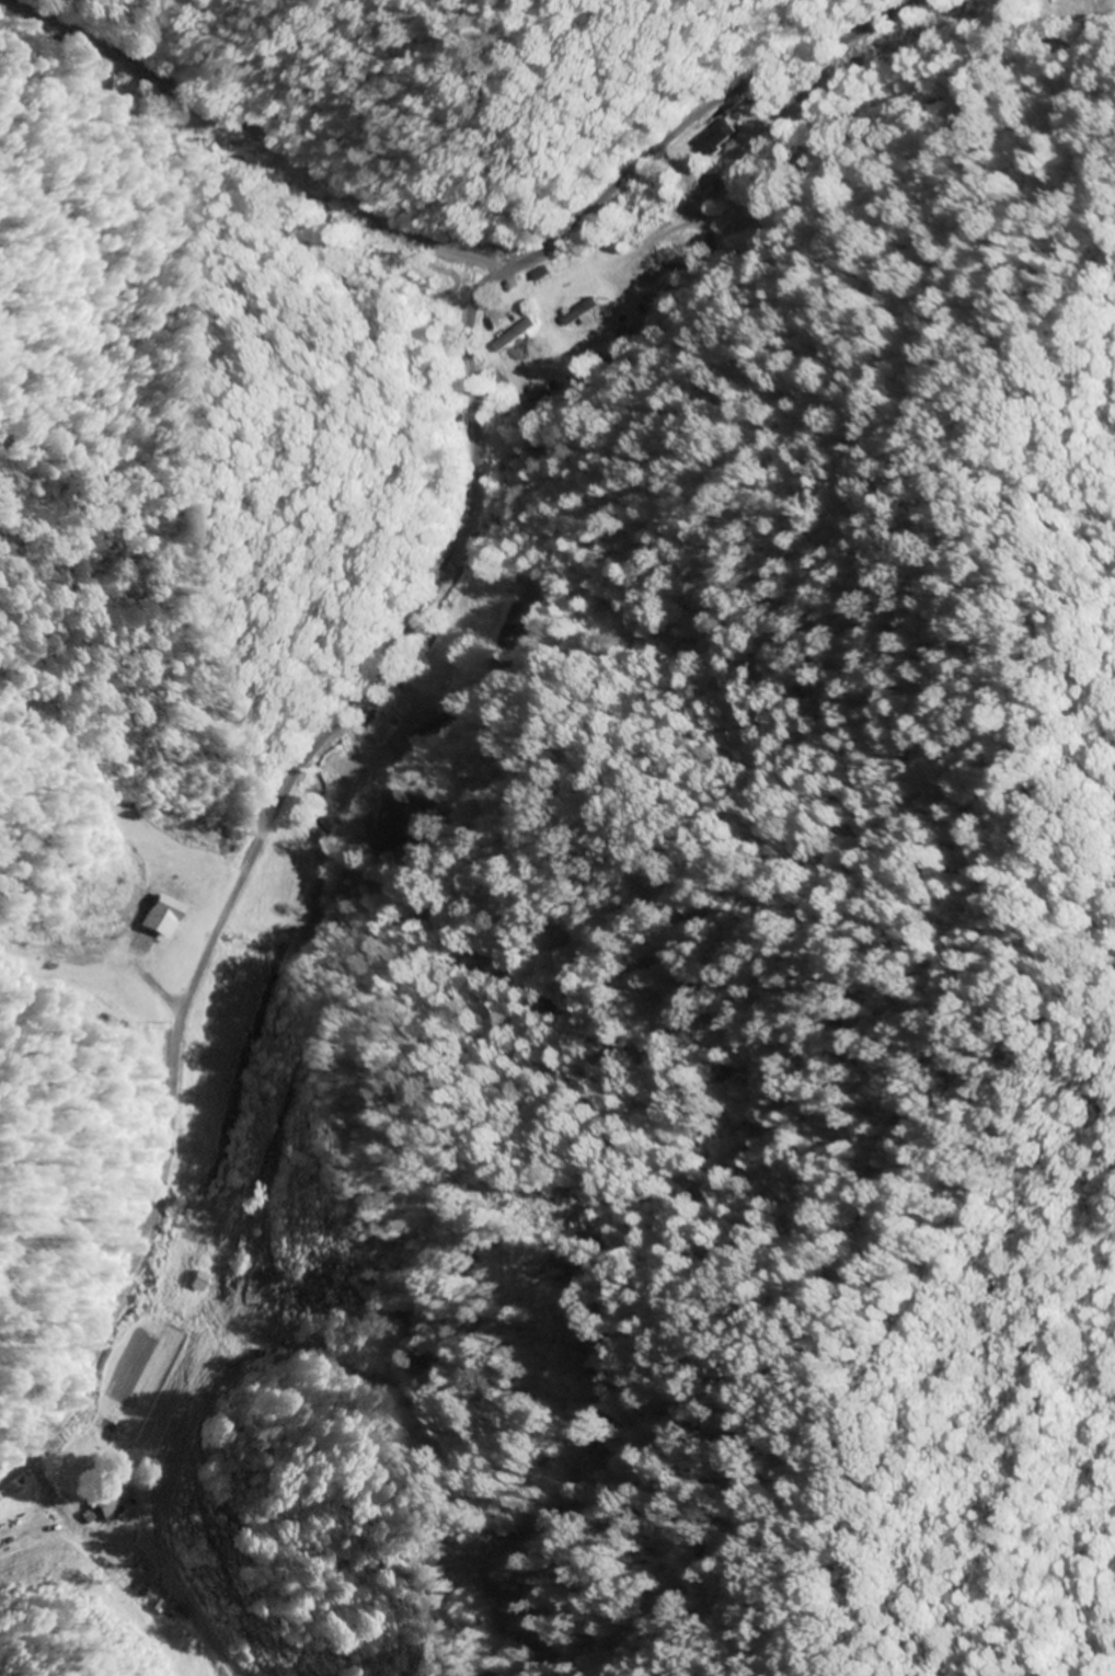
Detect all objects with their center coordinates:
building: (721, 135)
building: (583, 313)
building: (514, 335)
building: (620, 338)
building: (506, 625)
road: (386, 663)
building: (395, 827)
building: (158, 925)
building: (204, 1282)
building: (116, 1501)

